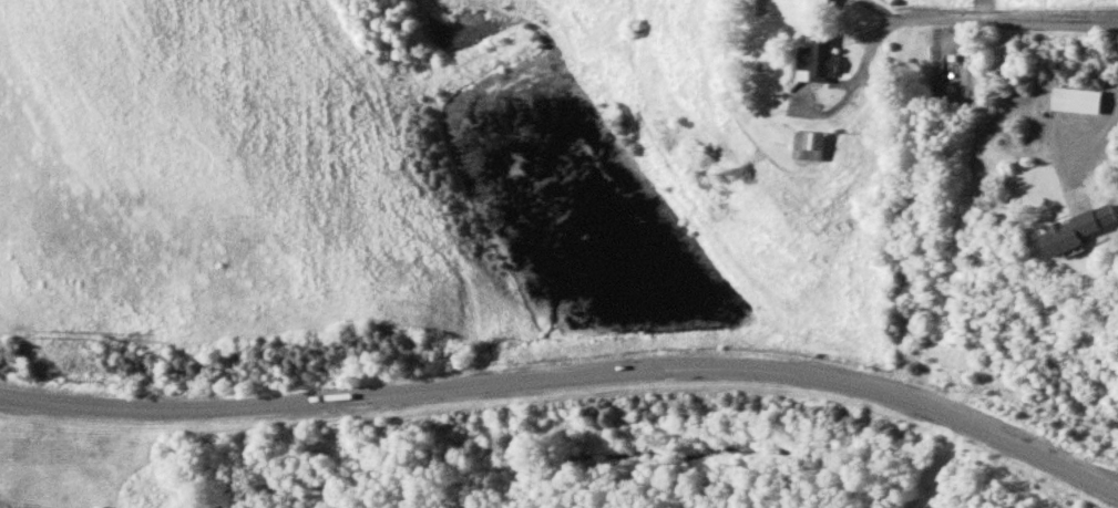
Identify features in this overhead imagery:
road: (1007, 19)
road: (1097, 135)
road: (814, 374)
road: (331, 396)
road: (86, 402)

